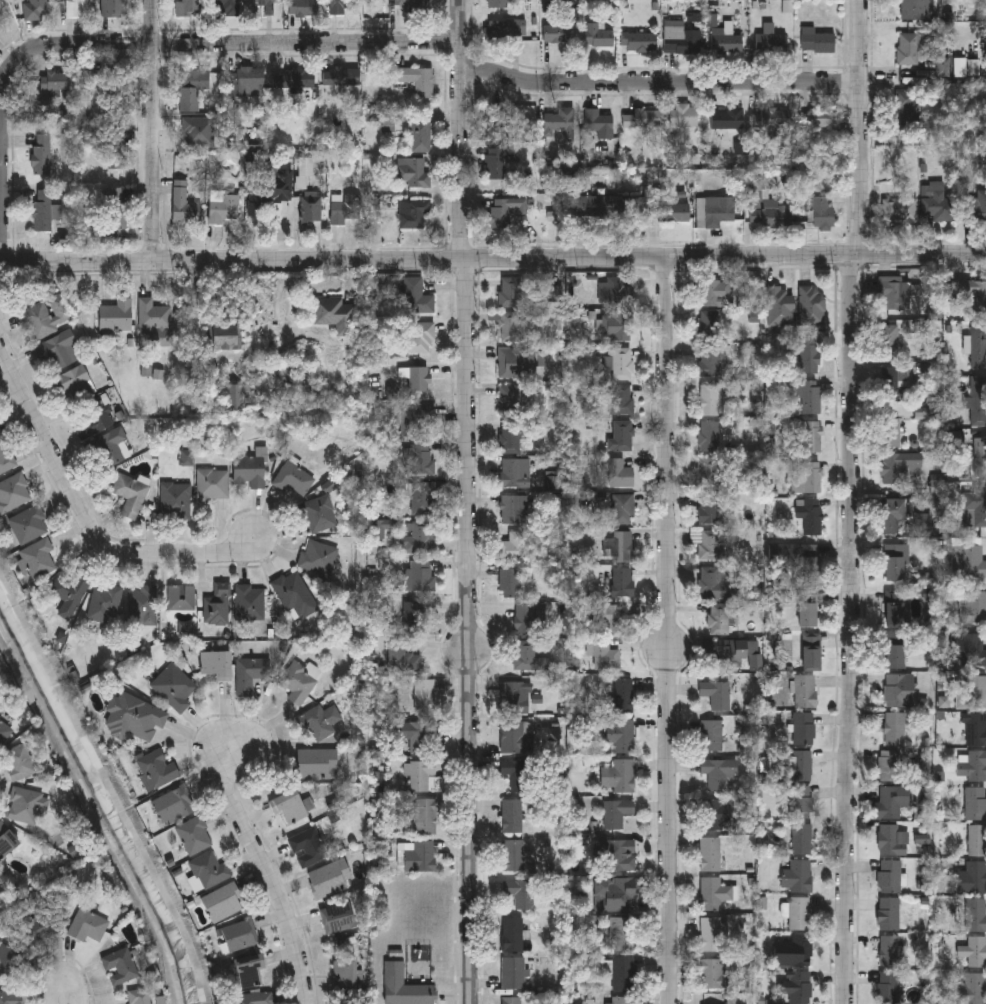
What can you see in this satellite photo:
building: (0, 0)
building: (496, 4)
building: (266, 5)
building: (340, 6)
building: (415, 6)
building: (114, 8)
building: (187, 8)
building: (227, 8)
building: (302, 8)
building: (79, 9)
building: (914, 9)
building: (35, 10)
building: (504, 30)
building: (558, 34)
building: (598, 35)
building: (681, 39)
building: (817, 41)
building: (639, 42)
building: (726, 43)
building: (772, 44)
road: (134, 45)
building: (911, 47)
building: (341, 76)
building: (244, 80)
building: (292, 80)
building: (416, 80)
building: (56, 81)
road: (661, 81)
building: (191, 88)
building: (115, 92)
building: (906, 109)
building: (684, 115)
building: (642, 118)
building: (727, 118)
building: (818, 118)
building: (774, 119)
building: (494, 121)
building: (560, 123)
building: (599, 123)
road: (862, 127)
road: (153, 131)
building: (420, 135)
building: (115, 149)
building: (41, 155)
building: (500, 161)
building: (412, 172)
building: (268, 190)
building: (765, 203)
building: (183, 204)
building: (621, 204)
building: (938, 204)
building: (976, 205)
building: (310, 206)
building: (583, 206)
building: (221, 207)
building: (899, 208)
building: (115, 209)
building: (505, 210)
building: (45, 211)
building: (345, 211)
building: (713, 211)
building: (668, 212)
building: (821, 213)
building: (414, 214)
road: (493, 258)
building: (972, 291)
building: (509, 292)
building: (614, 292)
building: (895, 292)
building: (411, 294)
building: (812, 305)
building: (780, 306)
building: (711, 307)
building: (152, 315)
building: (334, 315)
building: (47, 316)
building: (114, 317)
building: (619, 326)
building: (513, 328)
building: (222, 337)
building: (419, 337)
building: (889, 342)
building: (978, 347)
building: (57, 351)
building: (810, 355)
building: (520, 362)
building: (621, 364)
building: (417, 379)
building: (894, 381)
building: (73, 382)
building: (709, 382)
building: (232, 397)
building: (811, 397)
building: (620, 400)
building: (978, 401)
building: (511, 416)
building: (94, 418)
building: (414, 418)
building: (890, 432)
building: (0, 433)
building: (620, 436)
building: (709, 436)
building: (813, 436)
building: (112, 448)
building: (980, 457)
building: (5, 458)
building: (417, 460)
building: (897, 465)
building: (250, 471)
building: (709, 472)
building: (515, 473)
building: (619, 473)
building: (808, 478)
building: (294, 479)
building: (213, 484)
building: (13, 493)
building: (130, 495)
building: (420, 499)
building: (176, 501)
road: (466, 502)
building: (709, 508)
building: (975, 508)
building: (623, 509)
building: (514, 510)
building: (320, 514)
building: (810, 515)
building: (901, 519)
road: (87, 521)
building: (28, 525)
building: (417, 539)
building: (710, 545)
building: (616, 547)
building: (513, 549)
building: (318, 557)
building: (37, 559)
building: (967, 559)
building: (894, 563)
building: (799, 564)
building: (421, 576)
building: (624, 582)
building: (710, 582)
building: (514, 583)
building: (69, 594)
building: (294, 594)
building: (181, 598)
building: (249, 603)
building: (104, 604)
building: (142, 606)
building: (217, 607)
building: (972, 607)
building: (895, 609)
building: (806, 614)
building: (413, 617)
building: (528, 618)
building: (608, 618)
building: (723, 618)
road: (853, 629)
road: (669, 630)
building: (968, 650)
building: (727, 651)
building: (811, 651)
building: (605, 656)
building: (893, 656)
building: (529, 657)
building: (400, 658)
building: (215, 665)
building: (250, 674)
building: (298, 683)
building: (173, 688)
building: (900, 690)
building: (805, 691)
building: (971, 693)
building: (716, 694)
building: (622, 696)
building: (423, 697)
building: (516, 698)
building: (132, 718)
building: (319, 722)
building: (804, 728)
building: (895, 729)
building: (975, 730)
building: (620, 736)
building: (711, 736)
building: (415, 738)
building: (512, 738)
building: (19, 762)
building: (315, 765)
building: (972, 765)
building: (802, 766)
building: (889, 766)
building: (156, 770)
building: (718, 774)
building: (418, 775)
building: (620, 776)
building: (513, 777)
building: (892, 801)
building: (799, 802)
building: (975, 803)
building: (23, 806)
building: (174, 806)
building: (287, 807)
building: (616, 812)
building: (715, 815)
building: (512, 816)
building: (423, 817)
building: (194, 836)
building: (801, 839)
building: (977, 840)
building: (6, 841)
building: (892, 841)
building: (306, 848)
building: (618, 853)
building: (709, 854)
building: (513, 855)
building: (417, 857)
road: (267, 870)
building: (209, 871)
building: (796, 876)
building: (889, 876)
building: (975, 877)
building: (329, 879)
building: (519, 892)
building: (713, 893)
building: (615, 895)
building: (222, 903)
building: (799, 913)
building: (888, 914)
building: (976, 914)
building: (337, 919)
building: (88, 926)
building: (38, 927)
building: (512, 934)
building: (623, 934)
building: (711, 934)
building: (239, 936)
building: (793, 951)
building: (888, 951)
building: (974, 951)
building: (8, 964)
building: (119, 967)
building: (247, 971)
building: (513, 973)
building: (711, 973)
building: (345, 974)
building: (623, 974)
building: (403, 987)
building: (800, 987)
building: (888, 988)
building: (971, 989)
road: (69, 991)
building: (10, 997)
building: (139, 997)
building: (257, 998)
building: (622, 1000)
building: (511, 1001)

